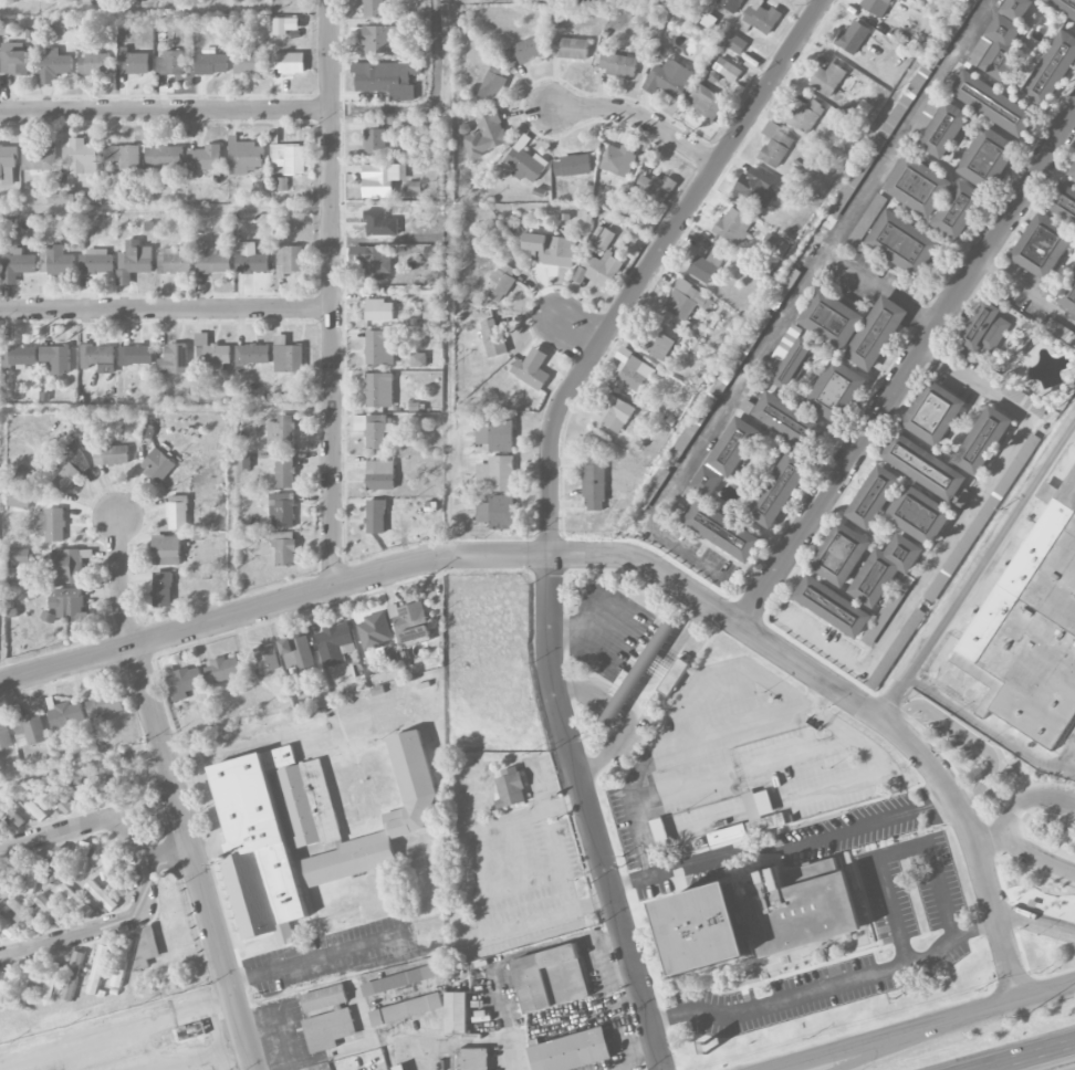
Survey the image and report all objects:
building: (85, 1)
building: (730, 4)
building: (875, 6)
building: (1064, 6)
building: (374, 8)
building: (759, 18)
building: (285, 25)
building: (1002, 35)
building: (853, 38)
building: (382, 39)
building: (737, 44)
building: (570, 48)
building: (525, 51)
building: (14, 59)
building: (250, 62)
building: (289, 62)
building: (133, 63)
building: (170, 63)
building: (95, 64)
building: (211, 64)
building: (618, 64)
building: (53, 65)
building: (727, 69)
building: (1052, 70)
building: (387, 78)
building: (669, 78)
building: (827, 80)
building: (493, 83)
building: (706, 101)
building: (993, 103)
road: (166, 112)
building: (805, 116)
road: (638, 118)
building: (944, 129)
building: (486, 135)
building: (375, 140)
building: (878, 143)
building: (774, 145)
building: (125, 156)
building: (164, 156)
building: (246, 156)
building: (81, 157)
building: (290, 157)
building: (39, 158)
building: (205, 158)
building: (988, 158)
building: (619, 159)
building: (525, 162)
building: (7, 164)
building: (573, 165)
building: (1072, 171)
building: (383, 179)
building: (919, 186)
building: (755, 187)
building: (653, 190)
building: (69, 198)
building: (1062, 201)
building: (959, 210)
building: (734, 225)
building: (904, 242)
building: (775, 244)
building: (1043, 245)
building: (551, 249)
building: (434, 252)
building: (251, 259)
building: (290, 259)
building: (599, 260)
building: (134, 261)
building: (55, 262)
building: (96, 262)
building: (174, 262)
building: (212, 262)
building: (376, 263)
building: (18, 266)
building: (706, 266)
building: (501, 282)
building: (783, 287)
road: (883, 290)
road: (1027, 292)
road: (334, 293)
building: (1068, 295)
building: (687, 301)
building: (379, 310)
road: (167, 311)
road: (786, 313)
building: (432, 319)
building: (854, 326)
road: (581, 332)
building: (1060, 332)
building: (492, 337)
building: (659, 345)
building: (380, 347)
building: (213, 352)
building: (252, 354)
building: (23, 355)
building: (97, 355)
building: (136, 355)
building: (56, 358)
building: (289, 358)
building: (174, 359)
building: (418, 359)
building: (794, 363)
building: (532, 368)
building: (633, 369)
road: (908, 374)
building: (377, 388)
building: (836, 390)
building: (613, 412)
building: (933, 412)
building: (789, 420)
building: (375, 429)
building: (281, 432)
building: (494, 434)
building: (983, 439)
building: (112, 453)
building: (727, 455)
building: (158, 465)
building: (923, 466)
building: (284, 471)
building: (497, 472)
building: (28, 474)
building: (380, 474)
building: (67, 478)
building: (594, 486)
building: (780, 489)
road: (449, 496)
building: (874, 496)
building: (19, 497)
road: (550, 503)
building: (282, 510)
building: (177, 512)
building: (497, 513)
building: (919, 514)
building: (376, 516)
building: (52, 524)
building: (723, 531)
road: (956, 531)
building: (283, 547)
building: (166, 549)
building: (841, 553)
building: (22, 556)
building: (66, 566)
building: (885, 569)
road: (978, 570)
road: (374, 575)
building: (163, 588)
building: (66, 606)
building: (833, 606)
road: (781, 620)
building: (410, 622)
building: (1032, 627)
road: (772, 636)
building: (335, 643)
building: (896, 649)
building: (298, 654)
building: (267, 658)
building: (659, 662)
building: (222, 670)
building: (182, 681)
building: (622, 699)
building: (104, 703)
building: (66, 714)
road: (877, 716)
building: (28, 727)
road: (990, 728)
building: (4, 736)
road: (608, 747)
road: (1068, 758)
building: (111, 783)
building: (509, 787)
building: (76, 788)
road: (177, 795)
road: (1027, 798)
building: (32, 807)
building: (387, 816)
building: (752, 819)
road: (80, 822)
building: (271, 833)
road: (814, 839)
road: (990, 840)
road: (900, 850)
road: (171, 852)
building: (81, 857)
road: (1037, 859)
building: (58, 864)
building: (30, 872)
building: (8, 877)
road: (640, 878)
road: (480, 894)
building: (101, 895)
building: (74, 901)
building: (50, 911)
building: (22, 913)
building: (756, 919)
road: (998, 921)
road: (1036, 921)
building: (7, 930)
road: (98, 930)
road: (562, 940)
building: (146, 944)
road: (320, 956)
road: (618, 958)
building: (97, 968)
building: (72, 975)
building: (551, 977)
building: (52, 978)
building: (401, 979)
building: (2, 984)
building: (22, 986)
road: (827, 987)
road: (1047, 990)
road: (987, 1008)
building: (406, 1009)
building: (456, 1011)
building: (327, 1016)
building: (184, 1034)
road: (121, 1036)
road: (640, 1043)
road: (862, 1043)
road: (898, 1046)
building: (571, 1051)
road: (191, 1052)
road: (1024, 1056)
building: (473, 1059)
building: (404, 1069)

